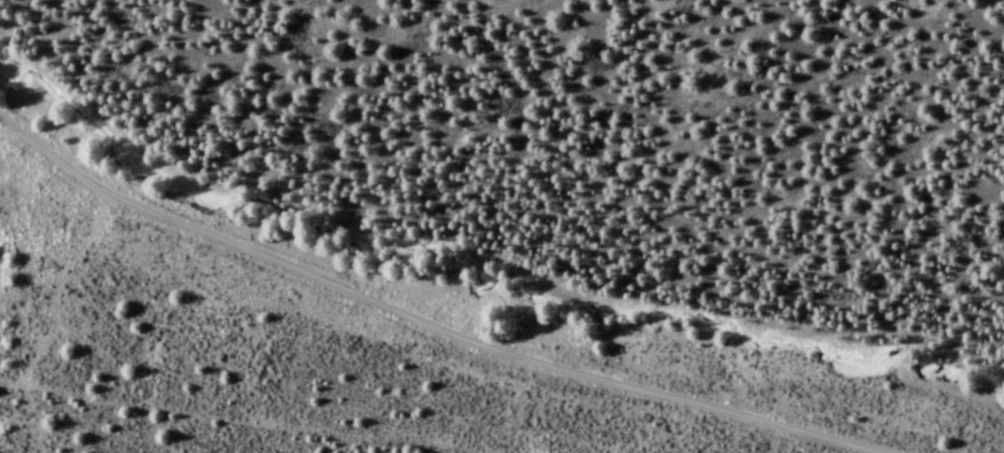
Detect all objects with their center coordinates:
road: (430, 313)

